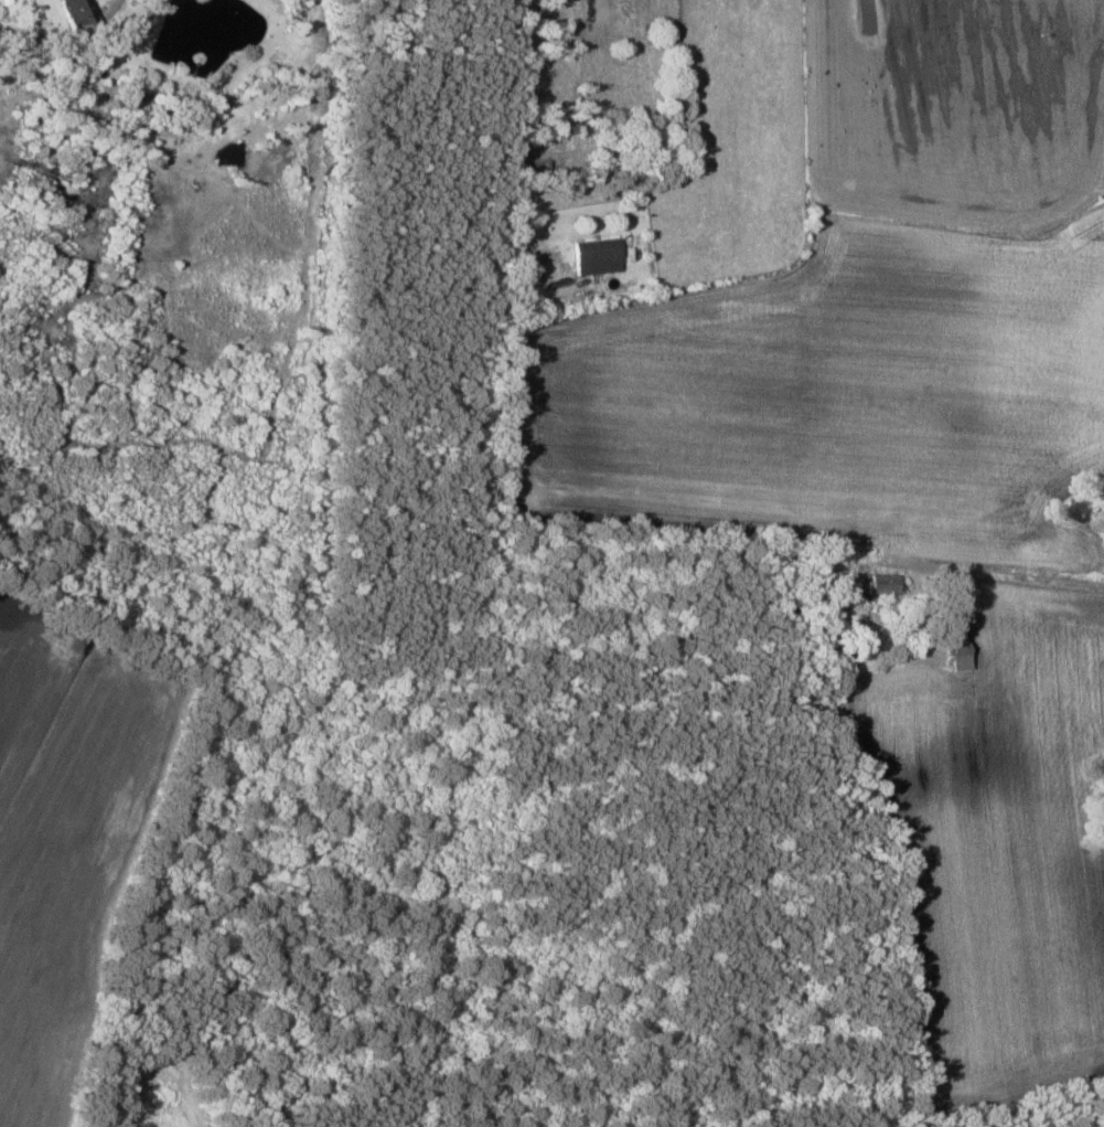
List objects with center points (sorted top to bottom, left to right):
building: (83, 11)
road: (68, 35)
road: (517, 135)
building: (599, 256)
road: (978, 578)
building: (885, 585)
building: (962, 656)

